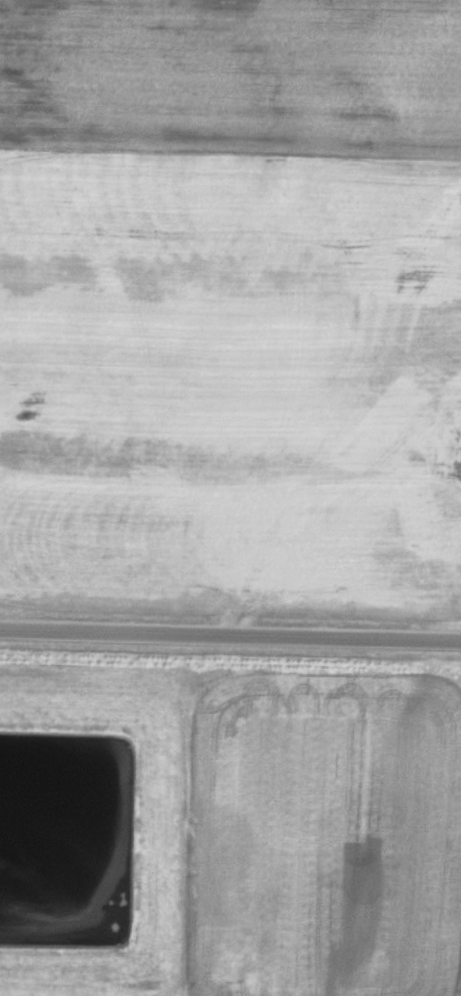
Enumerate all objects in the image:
road: (230, 620)

